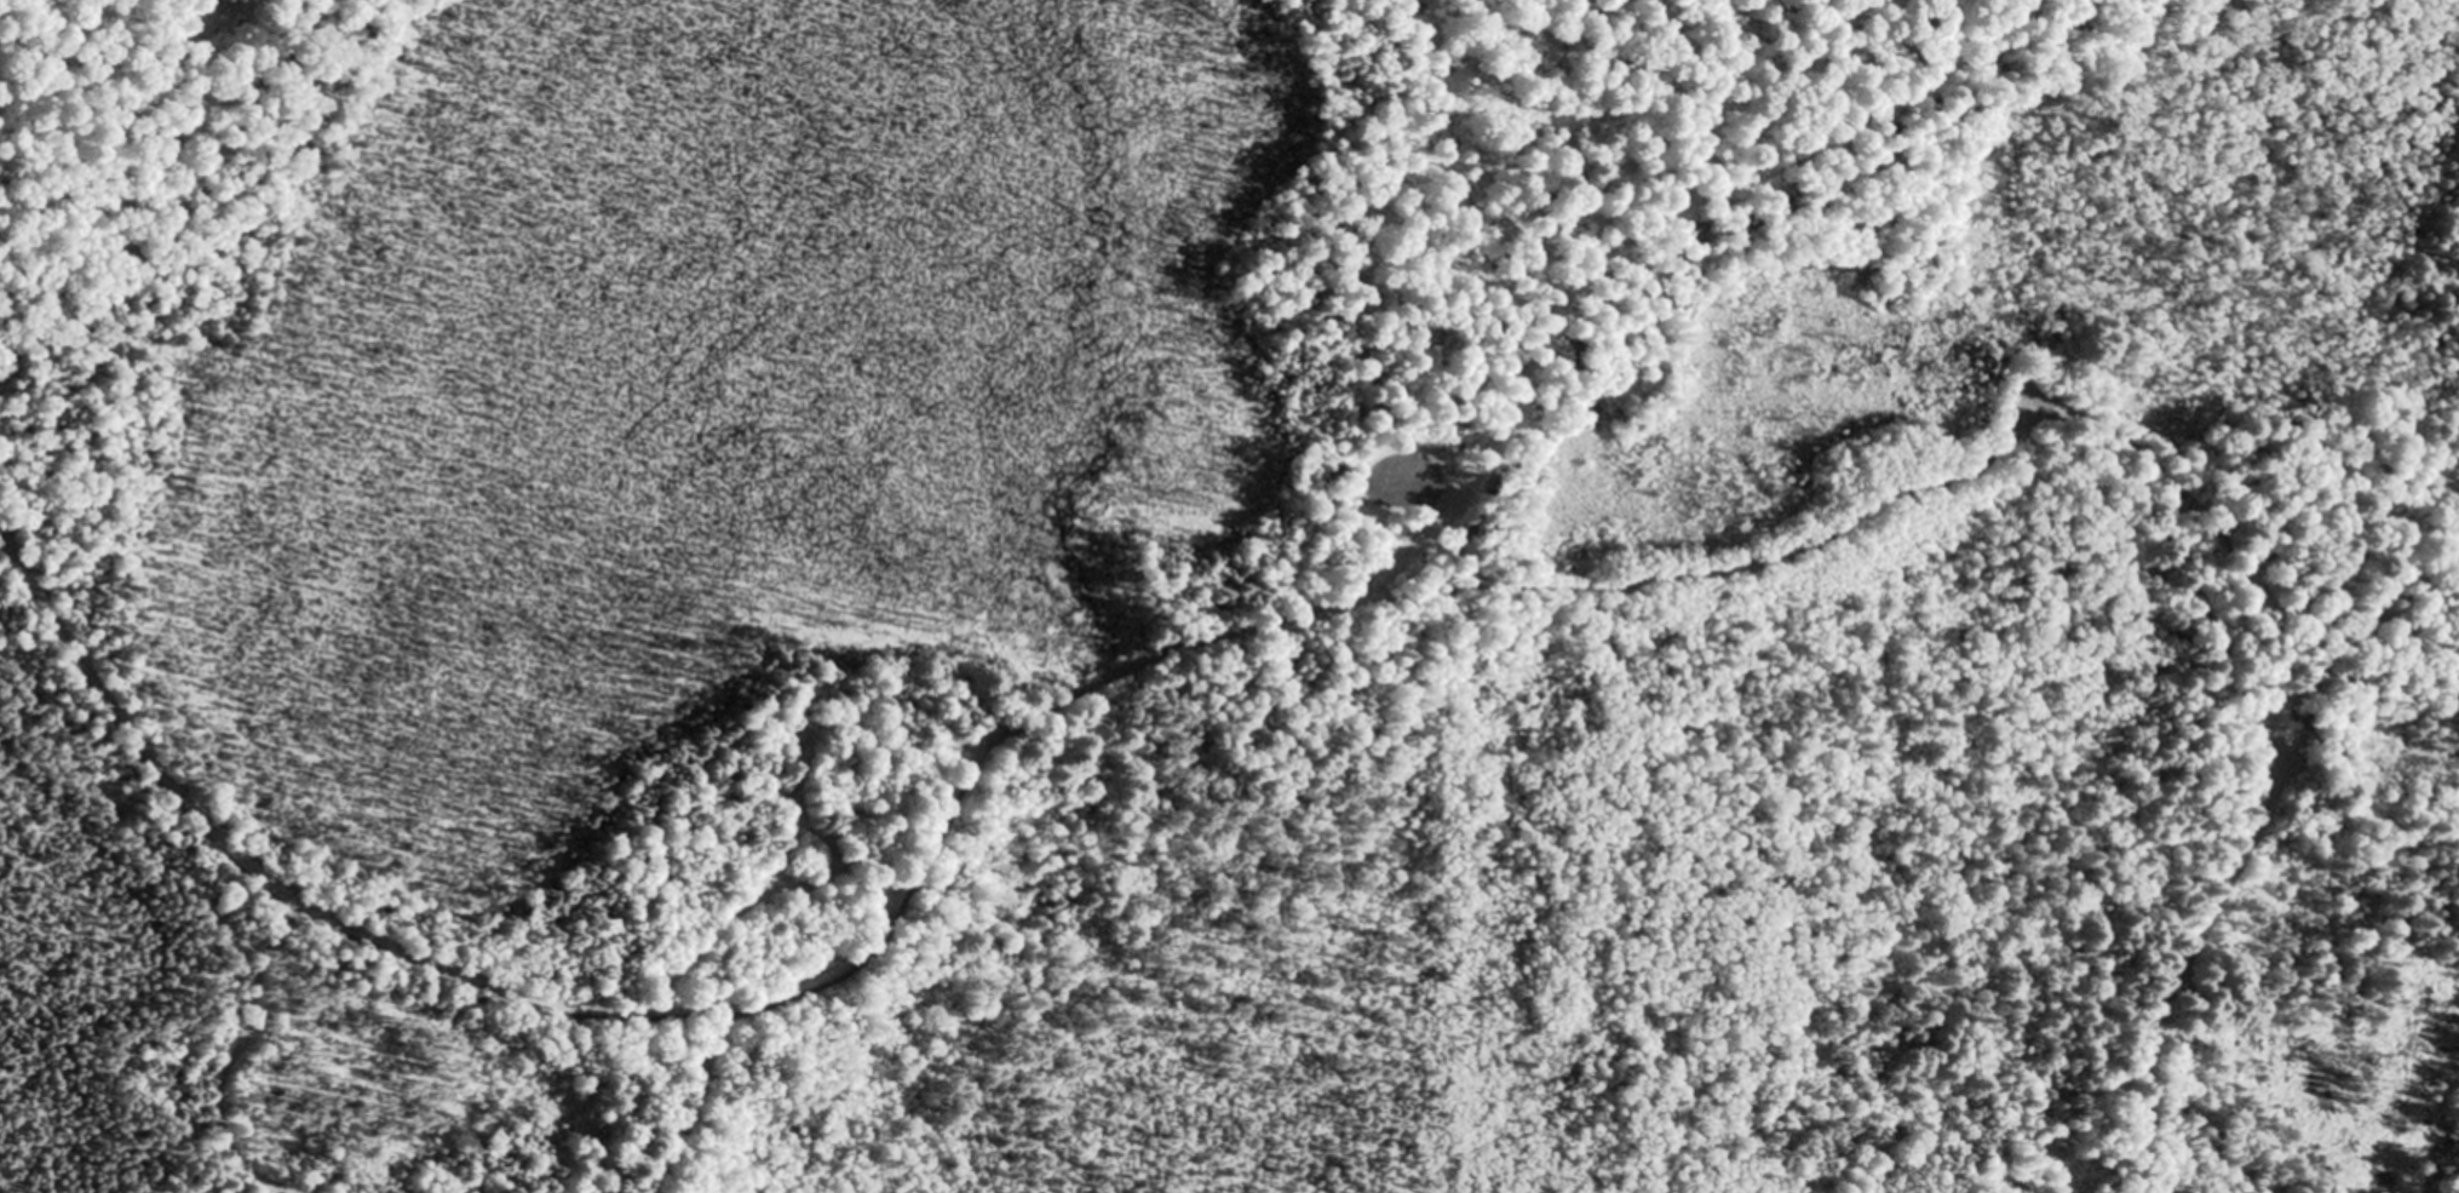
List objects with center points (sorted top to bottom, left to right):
road: (2040, 5)

